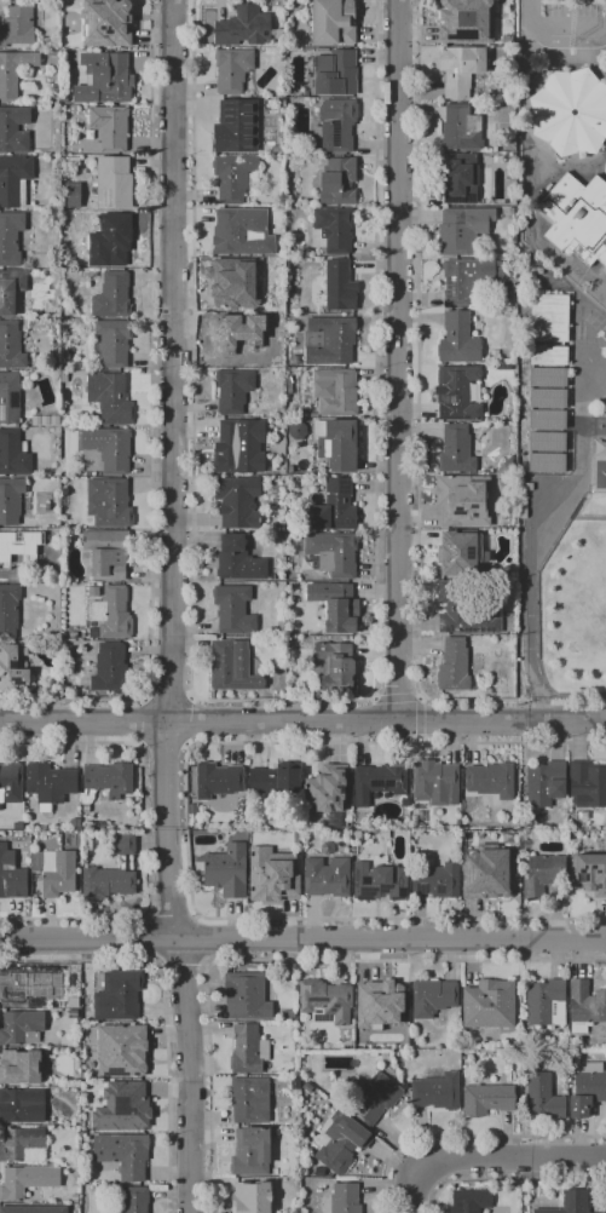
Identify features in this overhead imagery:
building: (334, 22)
building: (467, 22)
building: (106, 23)
parking lot: (573, 25)
building: (17, 27)
building: (243, 27)
road: (558, 30)
building: (322, 50)
building: (232, 69)
building: (460, 69)
building: (13, 70)
building: (330, 73)
building: (105, 79)
building: (571, 111)
building: (336, 125)
building: (236, 126)
building: (110, 127)
building: (461, 128)
building: (15, 130)
rooftop solar panel: (336, 133)
building: (233, 177)
building: (458, 178)
building: (15, 179)
building: (337, 182)
building: (114, 183)
rooftop solar panel: (109, 196)
rooftop solar panel: (460, 200)
building: (577, 218)
building: (463, 229)
building: (333, 230)
building: (242, 231)
building: (10, 237)
building: (111, 240)
building: (35, 272)
building: (92, 274)
building: (468, 278)
building: (235, 283)
building: (340, 286)
building: (11, 289)
building: (112, 295)
building: (549, 317)
building: (458, 339)
building: (329, 340)
building: (112, 341)
building: (231, 341)
building: (11, 345)
building: (495, 353)
building: (548, 356)
road: (396, 360)
building: (58, 375)
building: (64, 376)
building: (548, 378)
rooftop solar panel: (98, 386)
building: (233, 389)
rooftop solar panel: (110, 390)
building: (335, 391)
building: (457, 392)
building: (110, 397)
building: (10, 398)
building: (548, 398)
rooftop solar panel: (15, 399)
rooftop solar panel: (449, 399)
rooftop solar panel: (1, 413)
rooftop solar panel: (450, 416)
rooftop solar panel: (467, 416)
building: (54, 419)
building: (548, 419)
road: (152, 420)
building: (35, 421)
building: (45, 422)
building: (298, 430)
road: (417, 441)
building: (548, 442)
building: (337, 443)
building: (239, 447)
building: (109, 448)
building: (456, 450)
building: (13, 454)
building: (546, 464)
building: (507, 467)
building: (272, 490)
building: (11, 500)
building: (464, 500)
building: (238, 501)
building: (109, 502)
building: (335, 507)
building: (29, 536)
rooftop solar panel: (472, 551)
rooftop solar panel: (457, 552)
building: (108, 553)
building: (333, 553)
building: (461, 553)
building: (8, 557)
building: (238, 559)
road: (530, 564)
building: (93, 592)
building: (336, 605)
road: (173, 606)
building: (8, 609)
building: (233, 610)
building: (462, 610)
building: (111, 613)
building: (93, 632)
building: (336, 666)
building: (454, 666)
building: (232, 667)
building: (111, 668)
building: (12, 669)
road: (571, 694)
road: (420, 696)
road: (166, 697)
road: (374, 697)
road: (397, 697)
road: (282, 701)
road: (419, 717)
road: (192, 722)
road: (302, 722)
road: (139, 723)
road: (420, 740)
road: (166, 747)
rooftop solar panel: (341, 777)
building: (276, 778)
building: (106, 780)
building: (218, 780)
building: (491, 780)
rooftop solar panel: (371, 782)
building: (382, 782)
building: (435, 782)
building: (11, 783)
rooftop solar panel: (385, 783)
building: (546, 783)
building: (50, 784)
rooftop solar panel: (317, 784)
building: (587, 784)
rooftop solar panel: (339, 787)
building: (328, 788)
rooftop solar panel: (331, 797)
rooftop solar panel: (328, 805)
building: (527, 822)
road: (185, 828)
road: (144, 835)
building: (357, 837)
building: (327, 849)
building: (227, 870)
building: (56, 872)
building: (111, 872)
rooftop solar panel: (352, 872)
building: (487, 872)
rooftop solar panel: (462, 873)
building: (589, 873)
building: (272, 874)
building: (11, 875)
building: (543, 875)
building: (328, 876)
building: (437, 880)
building: (379, 881)
rooftop solar panel: (421, 889)
rooftop solar panel: (383, 890)
rooftop solar panel: (437, 891)
rooftop solar panel: (363, 893)
road: (172, 914)
road: (150, 938)
road: (302, 939)
road: (202, 941)
road: (282, 961)
road: (181, 968)
building: (22, 989)
building: (117, 996)
building: (247, 996)
building: (432, 998)
rooftop solar panel: (314, 1001)
building: (325, 1001)
building: (546, 1002)
building: (380, 1004)
building: (490, 1005)
building: (585, 1006)
road: (163, 1010)
rooftop solar panel: (314, 1011)
rooftop solar panel: (333, 1011)
building: (290, 1014)
rooftop solar panel: (316, 1018)
building: (19, 1027)
building: (248, 1050)
building: (531, 1052)
building: (121, 1060)
building: (529, 1063)
building: (21, 1067)
rooftop solar panel: (116, 1073)
rooftop solar panel: (138, 1075)
building: (296, 1082)
building: (587, 1088)
rooftop solar panel: (362, 1090)
building: (437, 1092)
building: (543, 1097)
building: (376, 1098)
building: (250, 1099)
building: (486, 1099)
building: (22, 1105)
rooftop solar panel: (360, 1106)
building: (133, 1108)
road: (466, 1137)
building: (342, 1142)
building: (21, 1144)
building: (250, 1151)
building: (123, 1155)
road: (487, 1157)
building: (275, 1171)
building: (319, 1171)
road: (508, 1178)
building: (27, 1180)
building: (250, 1197)
building: (345, 1198)
building: (134, 1200)
building: (469, 1201)
building: (571, 1202)
building: (34, 1209)

